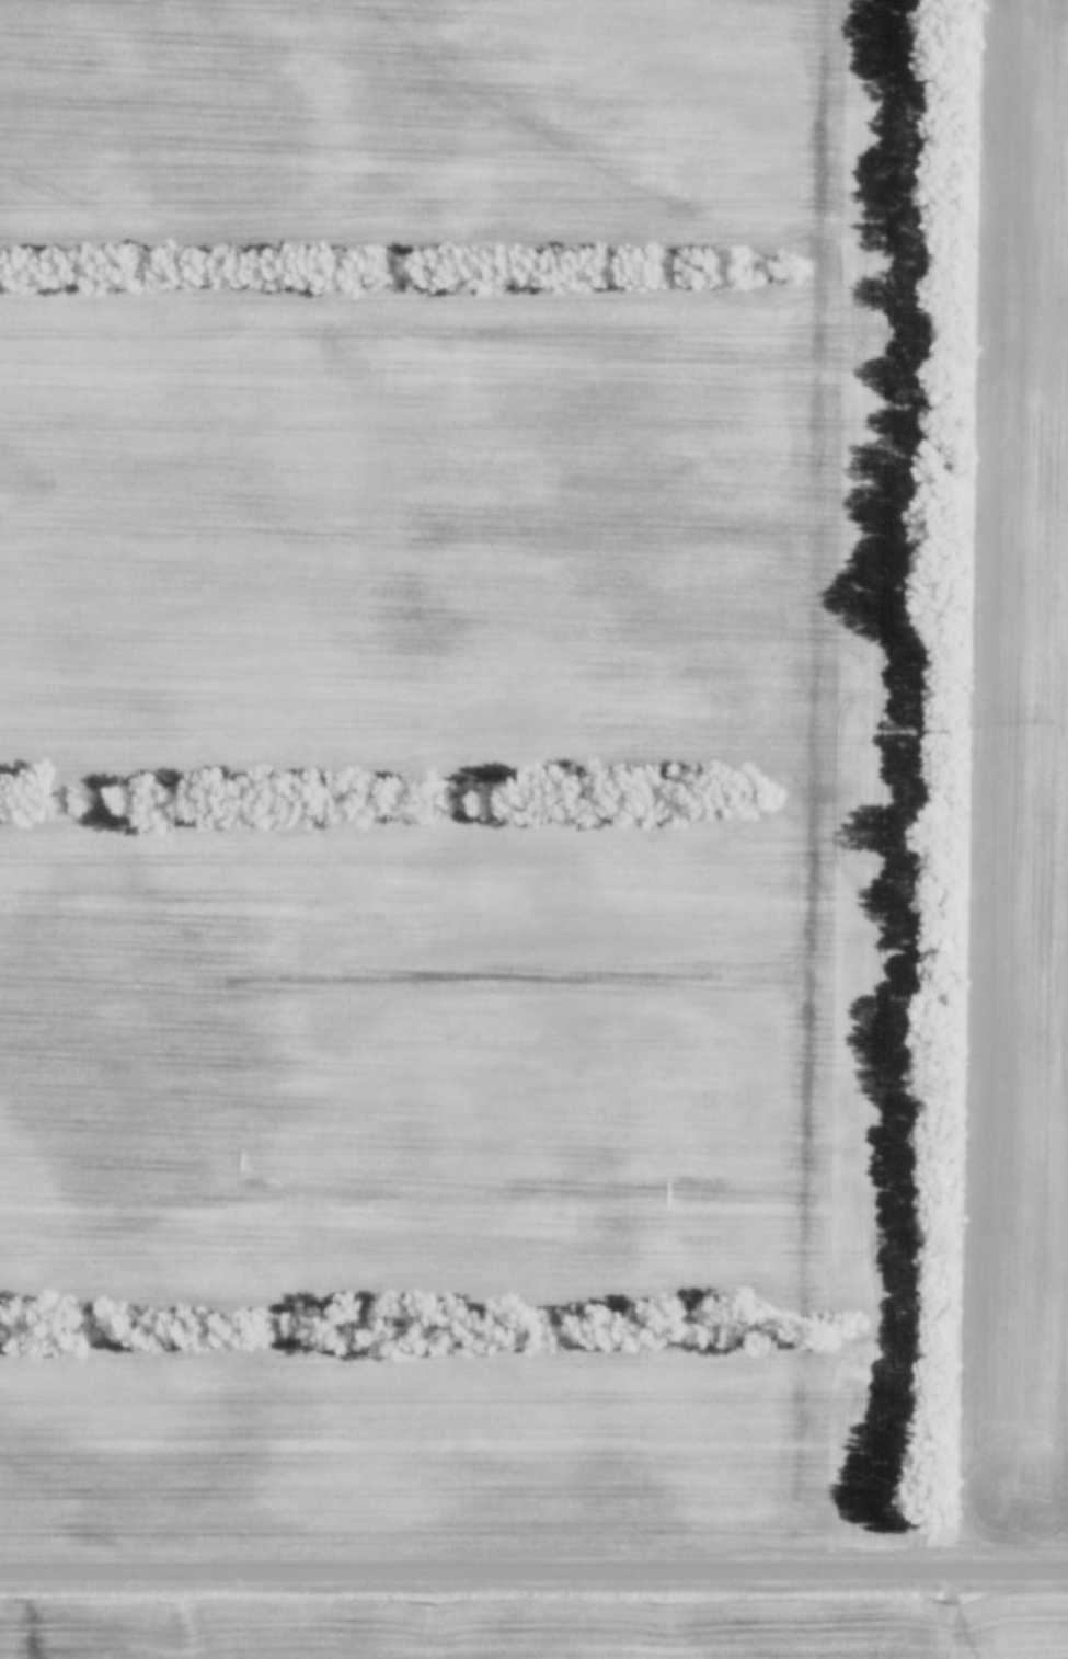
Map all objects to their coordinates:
road: (533, 1574)

